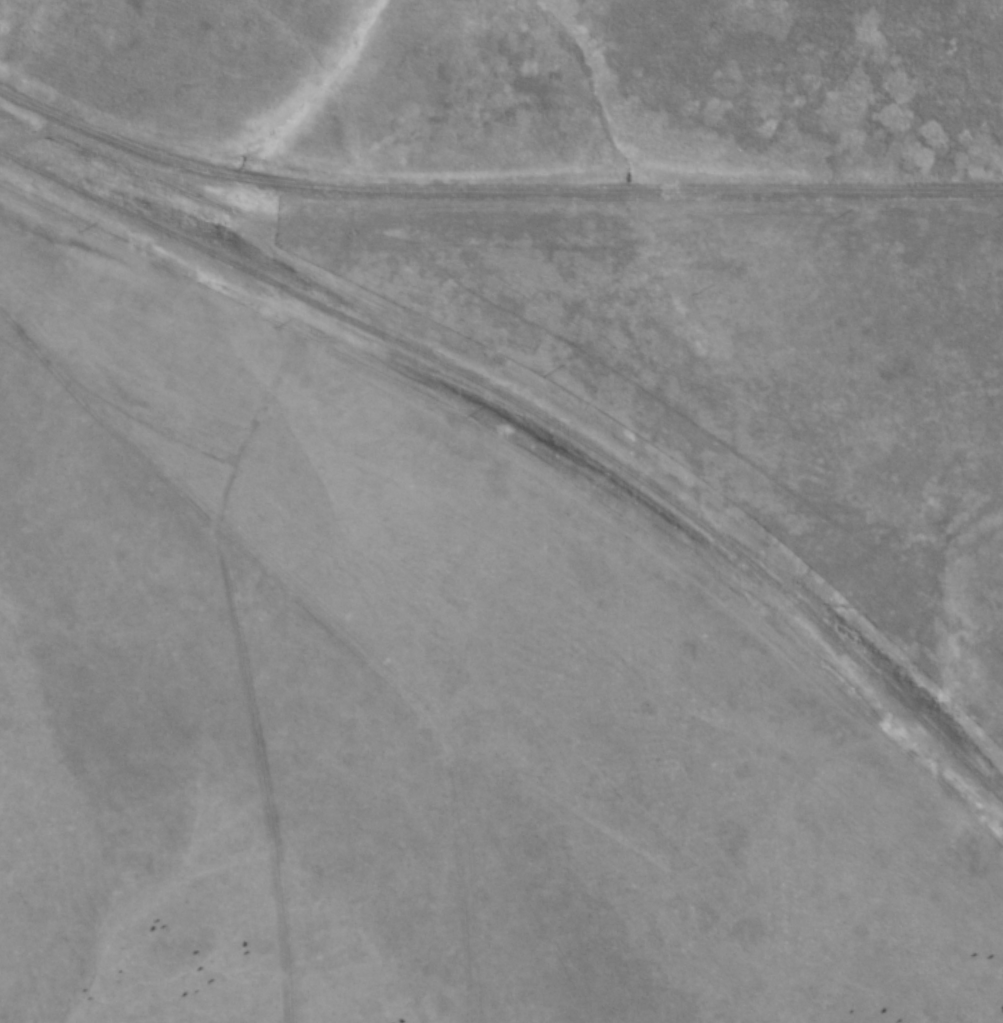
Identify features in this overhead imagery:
road: (492, 198)
railway: (526, 427)

